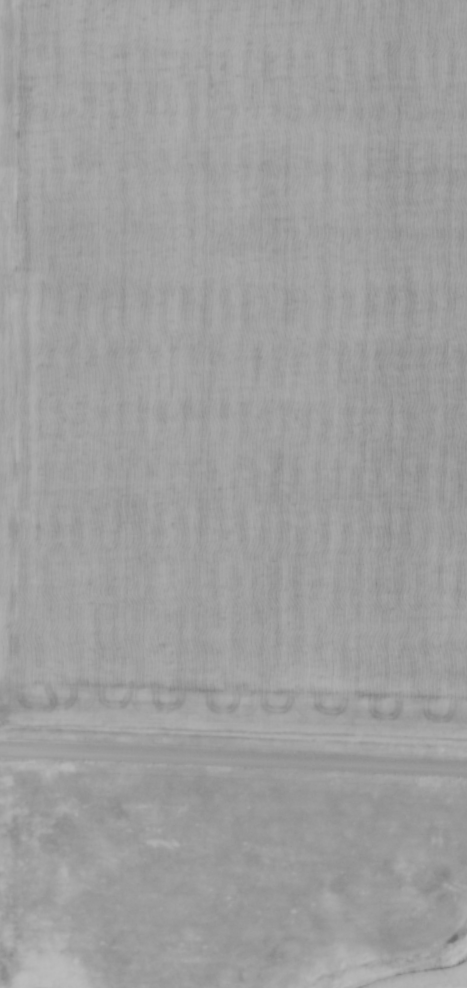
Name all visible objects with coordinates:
road: (233, 763)

